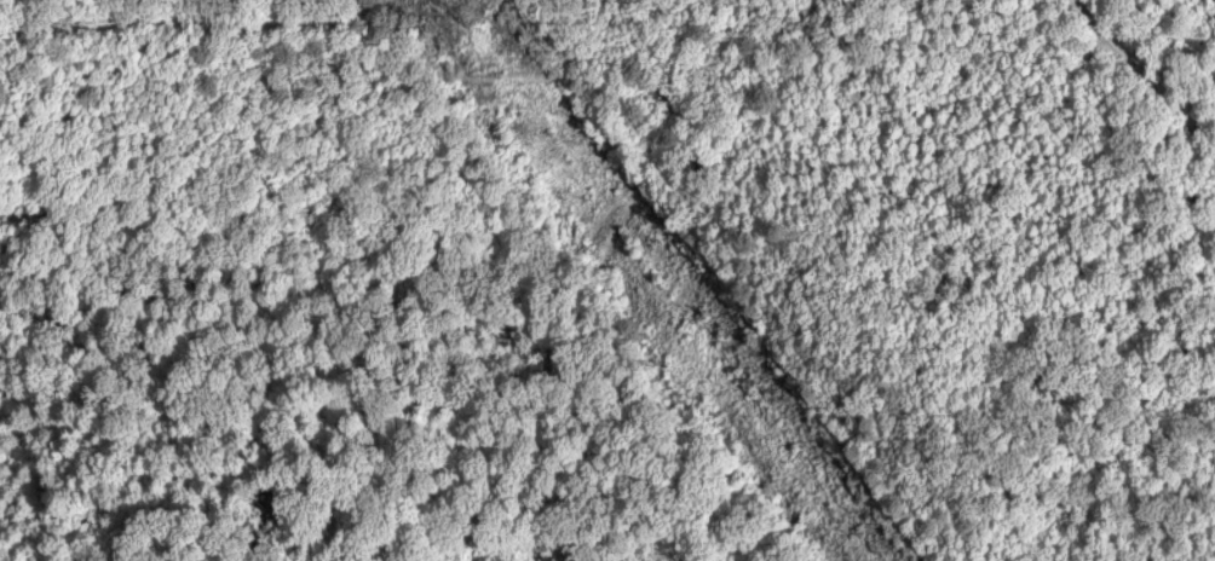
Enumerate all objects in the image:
road: (207, 13)
road: (1128, 54)

